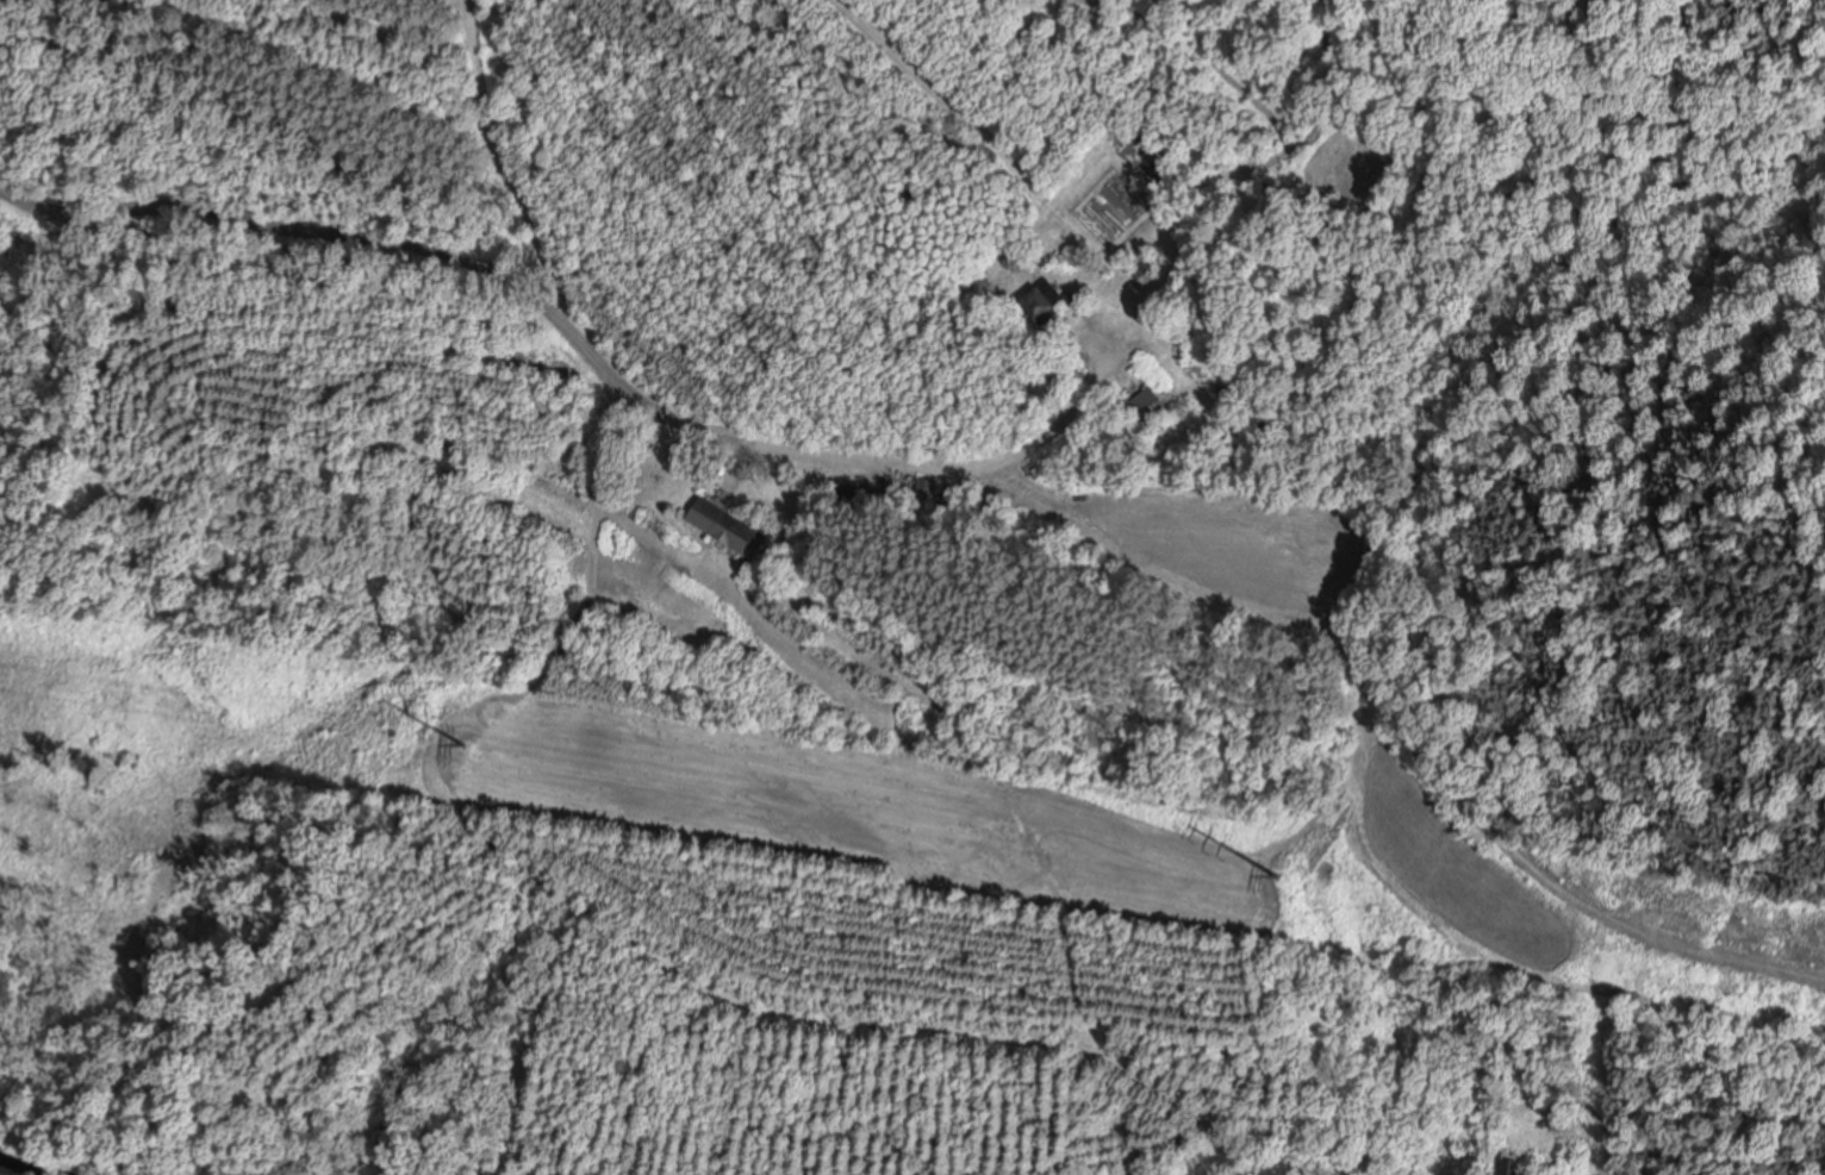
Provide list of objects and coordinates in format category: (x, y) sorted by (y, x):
building: (1142, 271)
building: (1045, 299)
road: (573, 332)
building: (1148, 404)
building: (727, 524)
power tower: (465, 738)
power tower: (1277, 870)
building: (1515, 1165)

